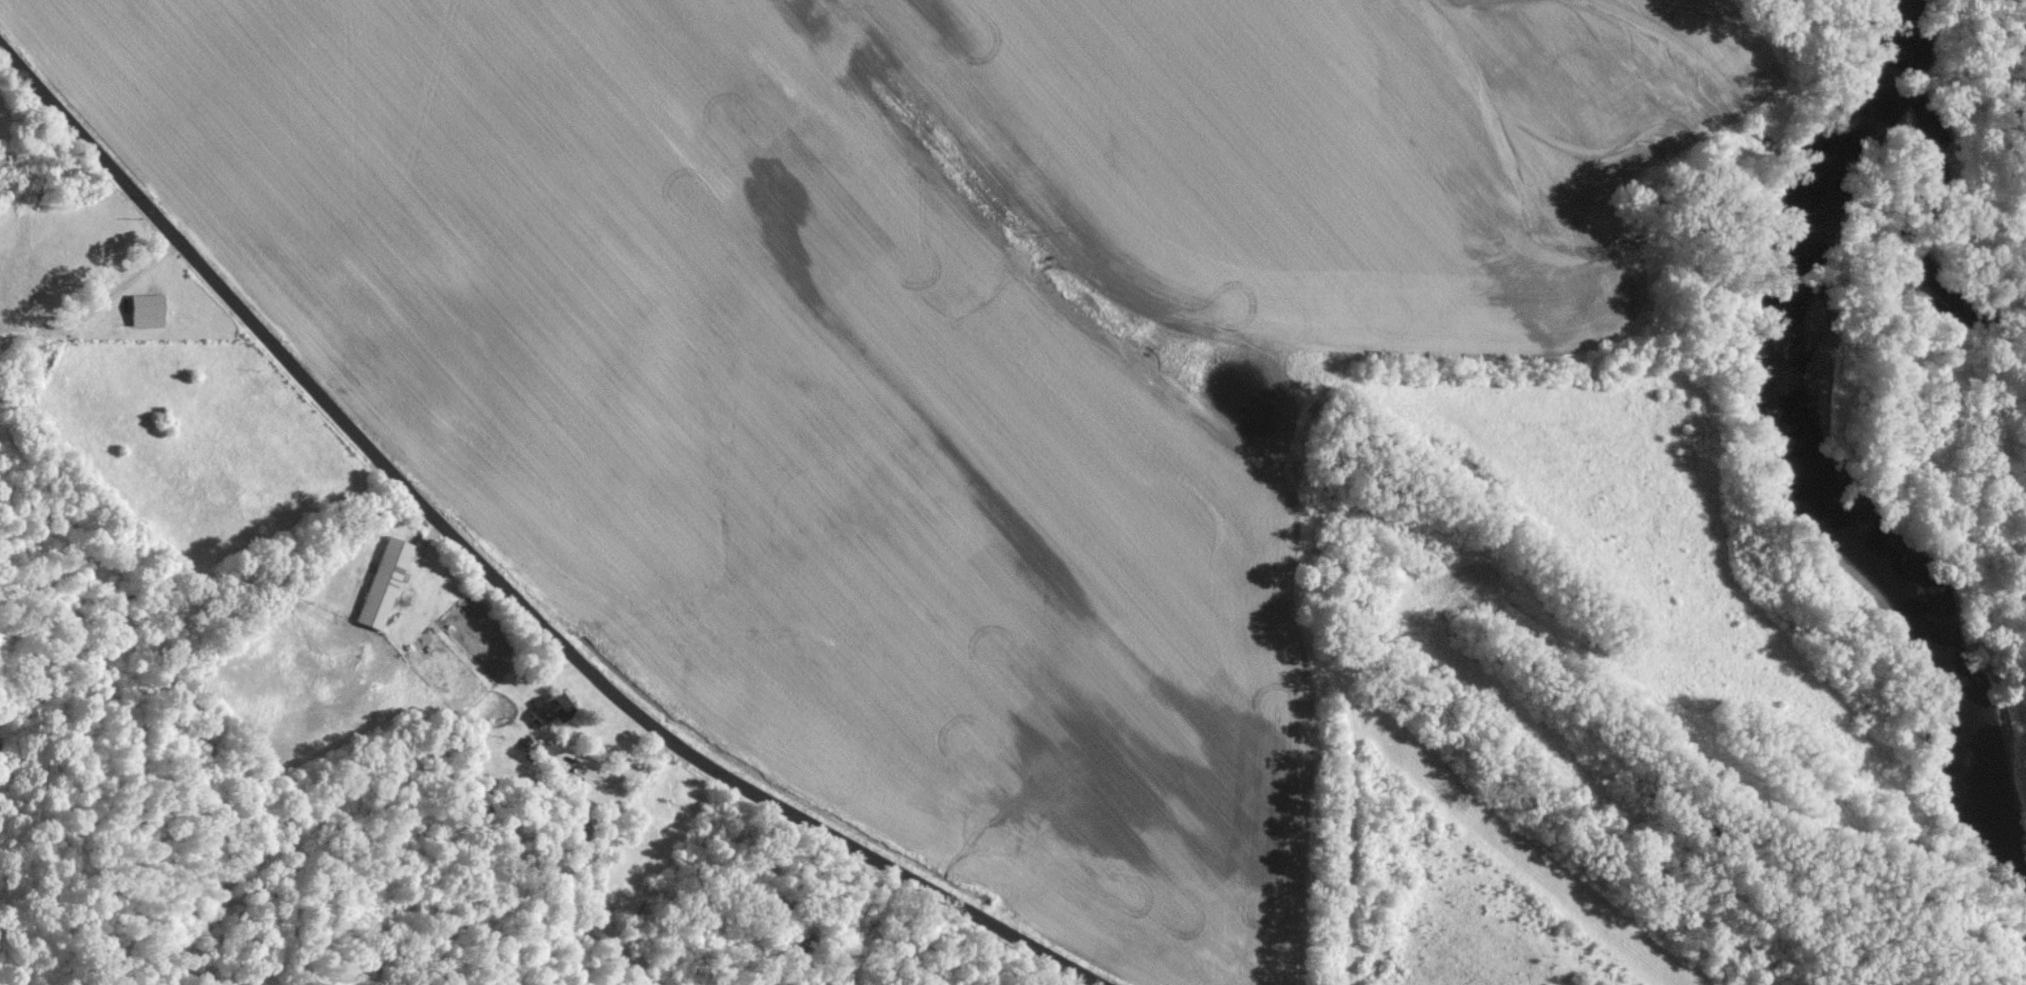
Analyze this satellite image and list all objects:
river: (1804, 461)
building: (387, 582)
road: (494, 583)

